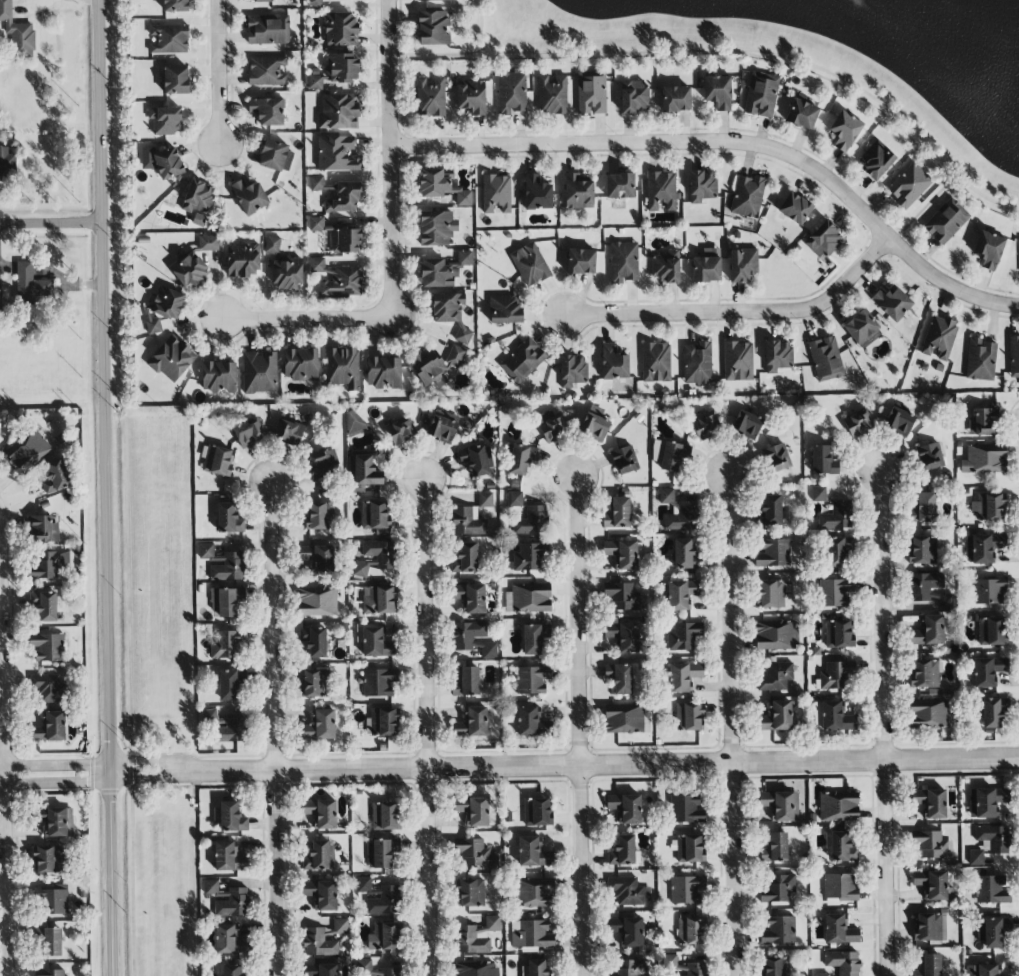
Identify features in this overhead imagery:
building: (432, 0)
building: (259, 1)
fountain: (842, 2)
building: (314, 3)
building: (175, 5)
building: (433, 28)
building: (268, 29)
building: (340, 29)
building: (17, 34)
building: (169, 38)
road: (753, 50)
road: (443, 54)
building: (266, 70)
building: (336, 70)
road: (218, 71)
building: (175, 80)
building: (591, 92)
building: (717, 92)
building: (511, 93)
building: (552, 94)
building: (761, 94)
building: (471, 96)
building: (633, 96)
building: (430, 97)
building: (675, 99)
building: (267, 111)
building: (339, 111)
building: (802, 114)
building: (165, 120)
road: (671, 128)
building: (844, 130)
road: (730, 141)
building: (336, 153)
building: (276, 156)
road: (390, 158)
building: (876, 159)
building: (161, 161)
building: (6, 164)
building: (316, 182)
building: (620, 185)
building: (702, 185)
building: (909, 185)
building: (442, 186)
building: (579, 191)
building: (661, 191)
building: (537, 193)
building: (496, 194)
building: (249, 196)
building: (747, 196)
building: (198, 197)
building: (343, 197)
road: (928, 202)
building: (795, 208)
building: (945, 221)
road: (50, 224)
building: (315, 224)
building: (437, 227)
building: (823, 239)
building: (345, 240)
building: (272, 245)
building: (989, 248)
building: (243, 259)
building: (581, 261)
building: (194, 262)
building: (623, 262)
building: (530, 264)
building: (743, 264)
building: (707, 266)
building: (442, 267)
building: (666, 267)
building: (287, 273)
building: (336, 279)
building: (31, 286)
road: (695, 299)
building: (0, 302)
building: (892, 302)
building: (446, 307)
building: (166, 309)
building: (505, 309)
road: (741, 311)
road: (306, 317)
building: (862, 328)
building: (463, 335)
building: (939, 338)
building: (777, 355)
building: (455, 356)
building: (1014, 356)
building: (825, 358)
building: (171, 359)
building: (523, 360)
building: (981, 360)
building: (738, 361)
building: (656, 362)
building: (613, 363)
building: (697, 363)
building: (300, 364)
building: (429, 367)
building: (342, 368)
building: (573, 370)
building: (383, 371)
building: (259, 373)
building: (219, 376)
building: (353, 421)
building: (858, 422)
building: (899, 422)
building: (983, 422)
building: (747, 424)
building: (552, 425)
building: (705, 425)
building: (443, 426)
building: (594, 427)
building: (290, 430)
building: (400, 430)
building: (248, 432)
building: (28, 450)
building: (670, 454)
building: (929, 456)
building: (777, 458)
building: (984, 459)
building: (217, 460)
building: (474, 460)
building: (520, 460)
building: (624, 460)
building: (823, 460)
building: (320, 464)
building: (362, 472)
building: (55, 476)
road: (105, 487)
road: (125, 488)
building: (818, 494)
building: (515, 498)
building: (485, 499)
building: (988, 506)
building: (925, 507)
building: (770, 509)
building: (618, 513)
building: (375, 515)
building: (228, 516)
building: (319, 516)
building: (836, 516)
building: (683, 517)
building: (467, 521)
building: (532, 521)
building: (42, 529)
building: (984, 547)
building: (922, 550)
building: (206, 551)
building: (837, 552)
building: (622, 553)
building: (684, 553)
building: (773, 553)
building: (375, 556)
building: (528, 556)
building: (318, 558)
building: (466, 558)
building: (48, 565)
building: (930, 589)
building: (989, 590)
building: (835, 591)
building: (771, 593)
building: (680, 594)
building: (622, 596)
building: (379, 597)
building: (471, 597)
building: (529, 598)
building: (226, 602)
building: (317, 602)
building: (44, 606)
building: (929, 631)
building: (991, 631)
building: (838, 633)
building: (776, 634)
building: (623, 636)
building: (683, 636)
building: (473, 638)
building: (534, 638)
building: (376, 643)
building: (227, 644)
building: (48, 646)
building: (988, 670)
building: (925, 673)
building: (836, 675)
building: (683, 676)
building: (775, 676)
building: (619, 678)
building: (531, 679)
building: (315, 682)
building: (379, 682)
building: (468, 682)
building: (230, 684)
building: (49, 689)
building: (993, 711)
building: (928, 713)
building: (688, 716)
building: (777, 716)
building: (831, 716)
building: (625, 718)
building: (527, 720)
building: (382, 722)
building: (472, 723)
road: (884, 723)
road: (730, 724)
building: (320, 725)
building: (225, 726)
building: (51, 727)
road: (426, 727)
road: (577, 727)
road: (271, 728)
road: (509, 766)
building: (986, 801)
building: (931, 802)
building: (780, 805)
building: (838, 806)
building: (625, 807)
building: (687, 808)
building: (472, 810)
building: (321, 812)
building: (537, 812)
building: (385, 816)
building: (231, 817)
building: (55, 821)
building: (989, 841)
building: (931, 844)
building: (689, 848)
building: (775, 848)
building: (841, 848)
building: (381, 852)
building: (475, 852)
building: (532, 853)
building: (319, 856)
building: (228, 857)
building: (48, 858)
road: (5, 875)
building: (933, 884)
building: (210, 886)
building: (366, 887)
building: (777, 887)
building: (840, 888)
building: (686, 889)
building: (992, 890)
building: (470, 892)
building: (534, 892)
building: (628, 892)
building: (321, 894)
building: (385, 901)
building: (53, 902)
building: (233, 903)
building: (927, 928)
building: (627, 930)
building: (690, 930)
building: (779, 930)
building: (839, 930)
building: (992, 931)
building: (530, 934)
building: (384, 936)
building: (476, 936)
building: (324, 939)
building: (229, 940)
building: (50, 942)
building: (843, 962)
building: (929, 965)
building: (681, 966)
building: (775, 966)
building: (536, 967)
building: (475, 968)
building: (629, 968)
building: (987, 969)
building: (321, 970)
building: (378, 970)
building: (50, 972)
building: (822, 974)

